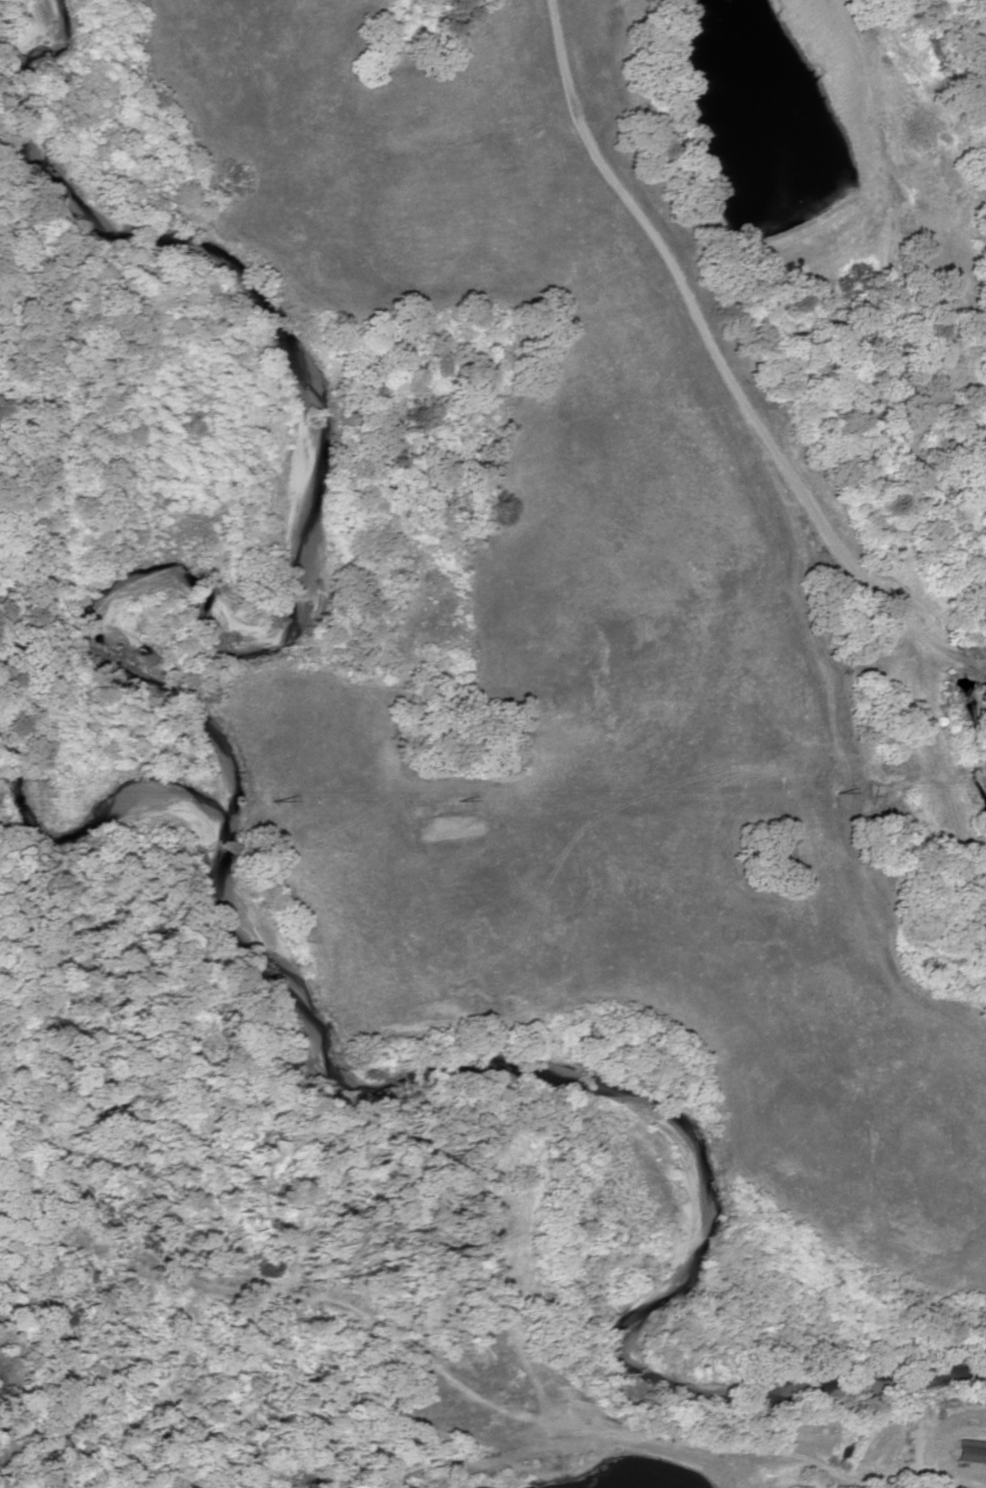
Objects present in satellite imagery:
power tower: (838, 792)
power tower: (459, 800)
building: (970, 1452)

